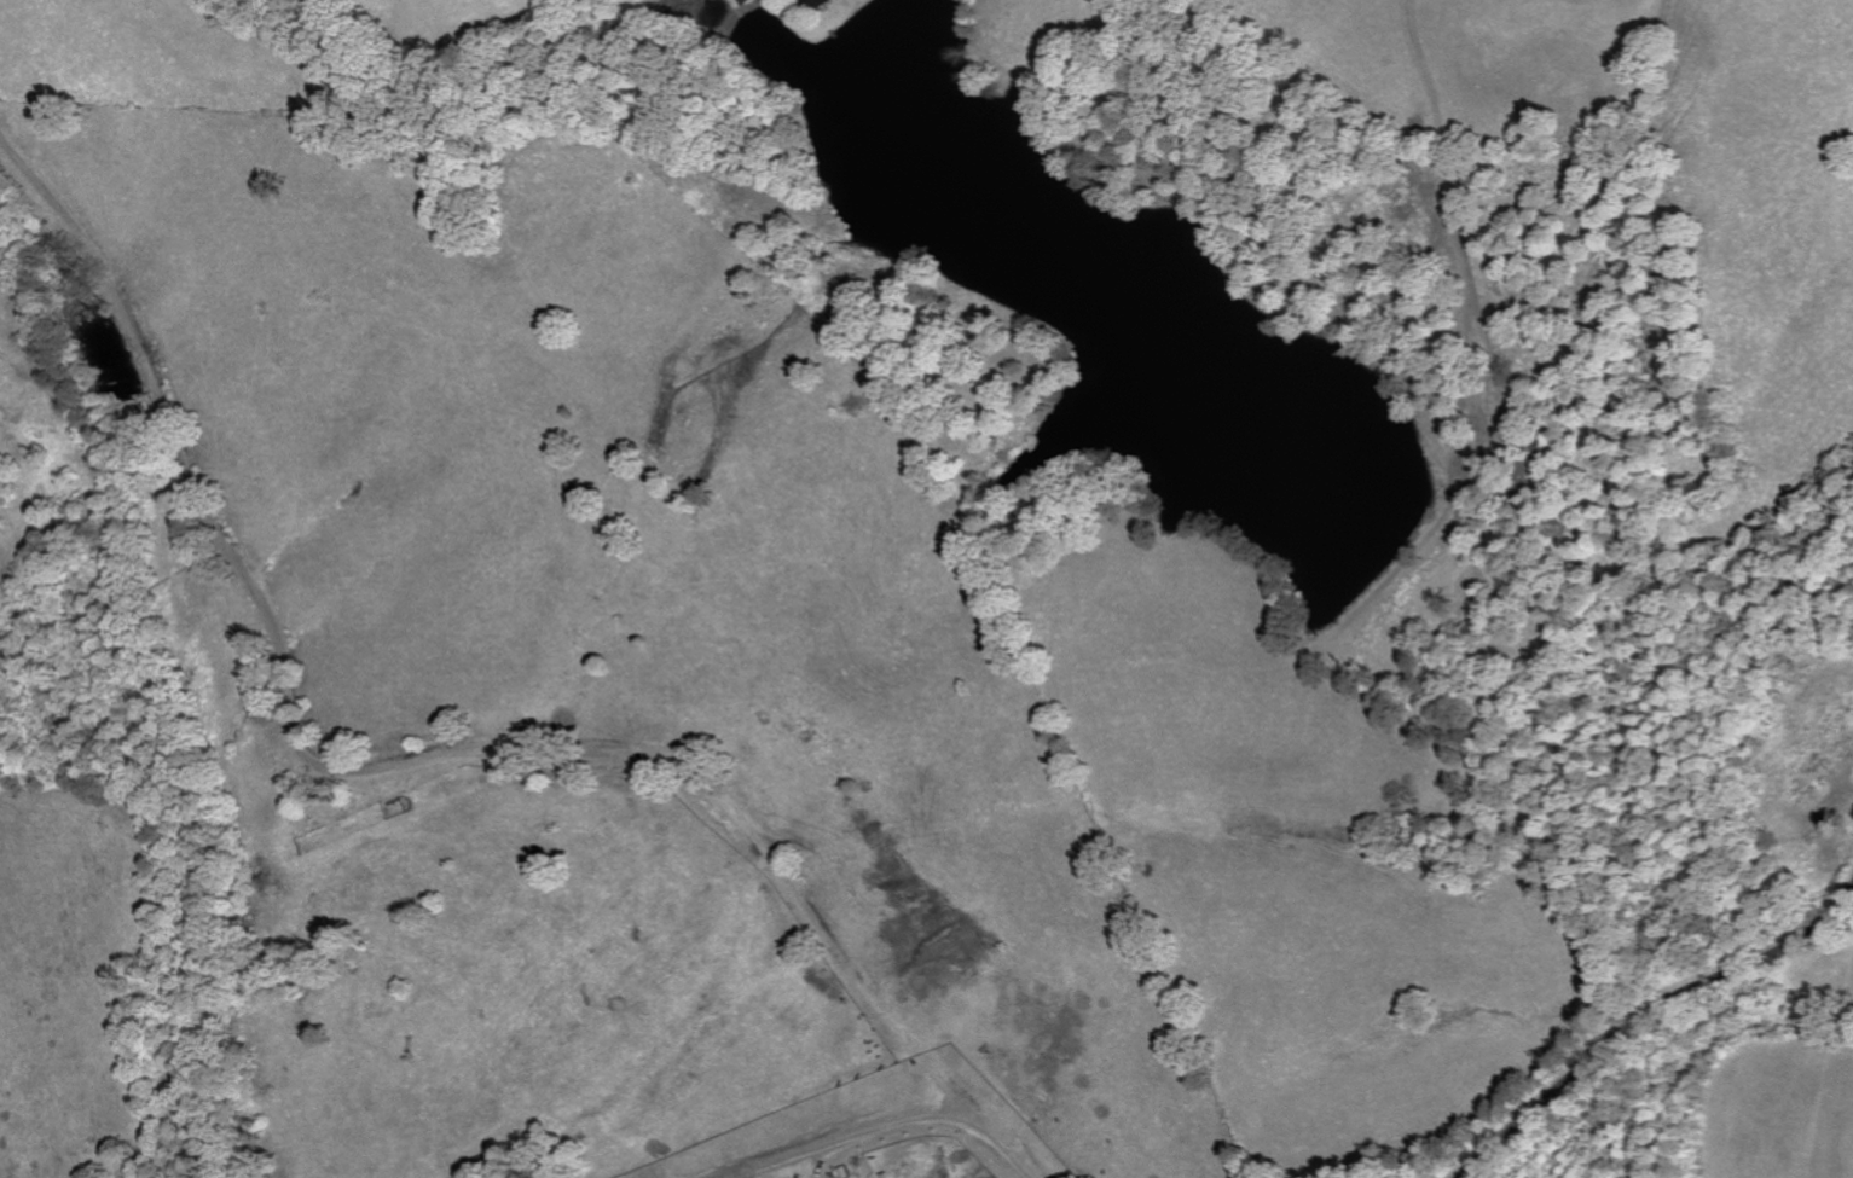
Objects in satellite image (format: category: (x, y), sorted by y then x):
building: (743, 1)
building: (817, 4)
road: (1668, 1026)
road: (888, 1128)

